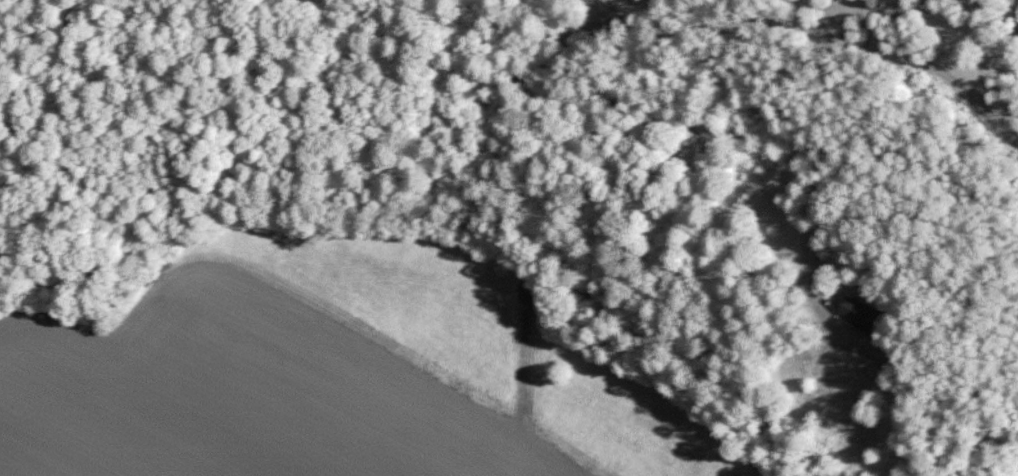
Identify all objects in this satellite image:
road: (817, 32)
road: (1012, 65)
building: (856, 312)

